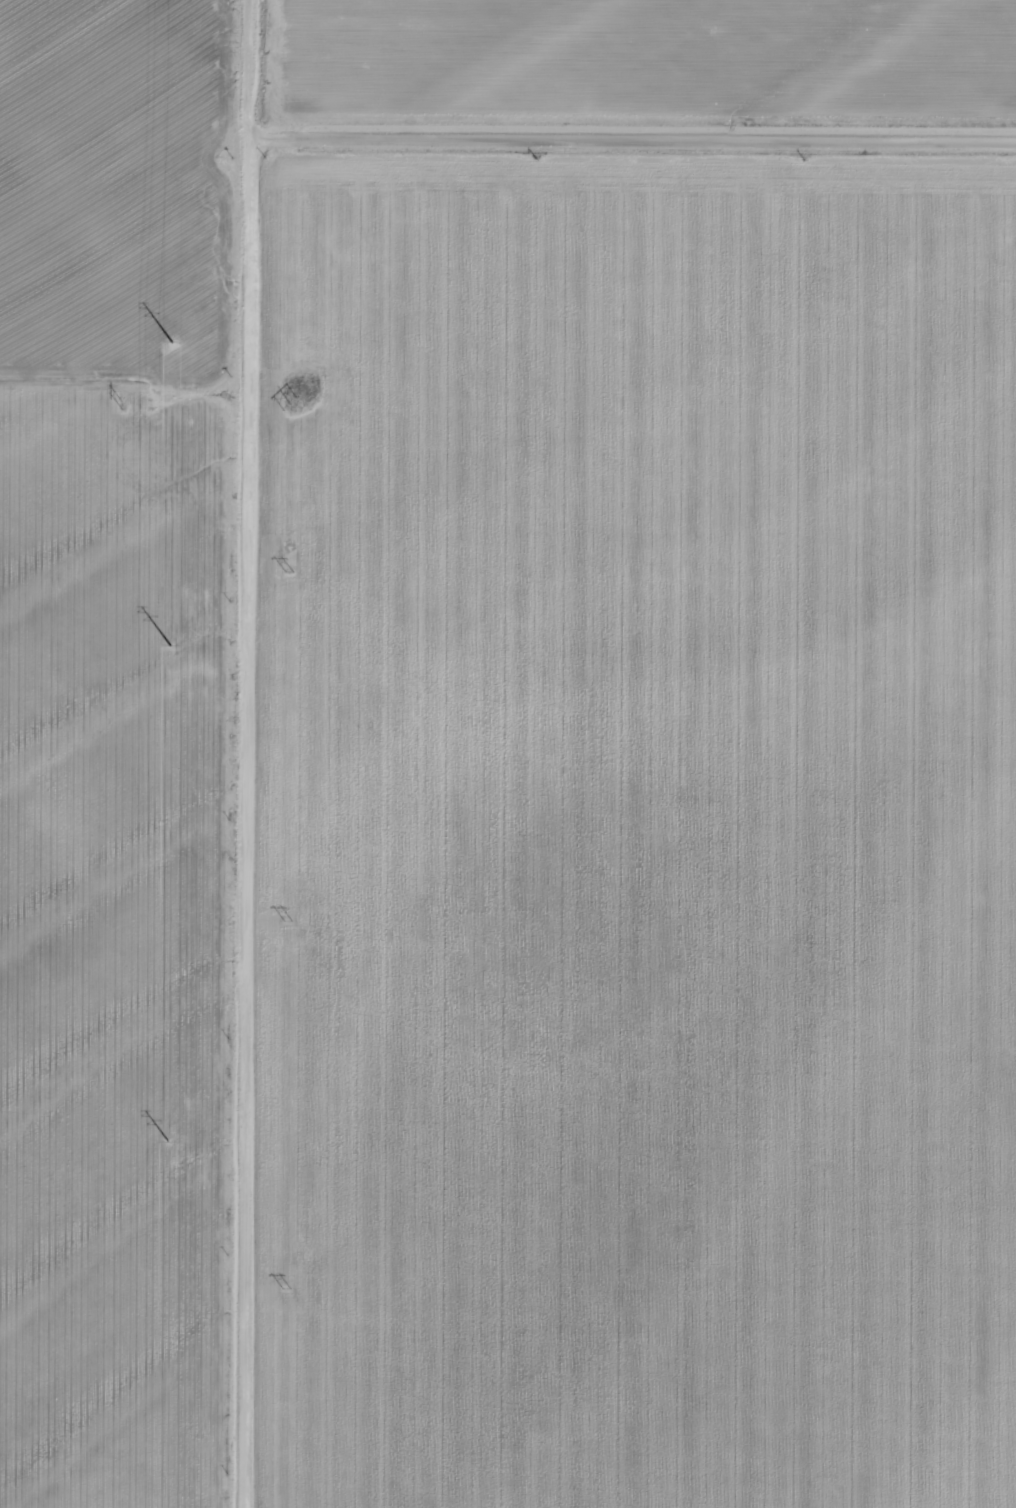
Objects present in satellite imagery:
road: (617, 143)
power tower: (162, 346)
road: (101, 396)
power tower: (286, 400)
power tower: (116, 404)
power tower: (285, 568)
power tower: (159, 647)
road: (202, 753)
power tower: (284, 914)
power tower: (156, 1140)
power tower: (283, 1283)

